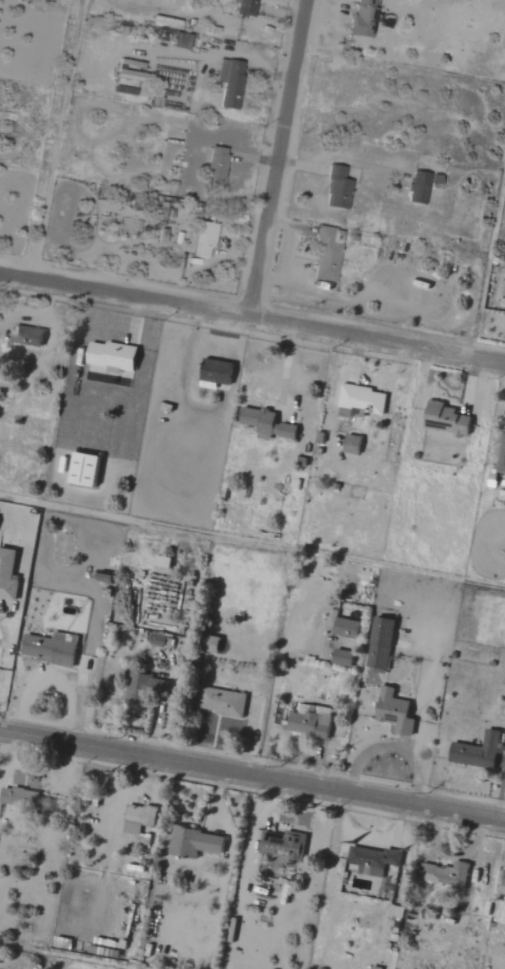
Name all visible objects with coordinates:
building: (245, 7)
building: (363, 18)
building: (228, 83)
road: (56, 138)
road: (279, 158)
building: (215, 164)
building: (435, 182)
building: (417, 188)
building: (336, 189)
building: (200, 240)
building: (324, 257)
road: (252, 317)
building: (26, 336)
building: (214, 374)
building: (359, 400)
building: (445, 419)
building: (266, 424)
building: (351, 445)
building: (501, 456)
building: (82, 470)
building: (161, 562)
building: (7, 575)
building: (103, 577)
building: (331, 619)
building: (345, 628)
building: (156, 639)
road: (90, 643)
building: (210, 644)
building: (379, 645)
building: (48, 650)
building: (341, 657)
building: (144, 689)
road: (273, 689)
building: (221, 702)
building: (393, 711)
building: (308, 723)
building: (476, 751)
road: (252, 770)
building: (18, 797)
building: (137, 818)
building: (193, 842)
building: (282, 845)
building: (371, 860)
building: (444, 874)
building: (503, 880)

